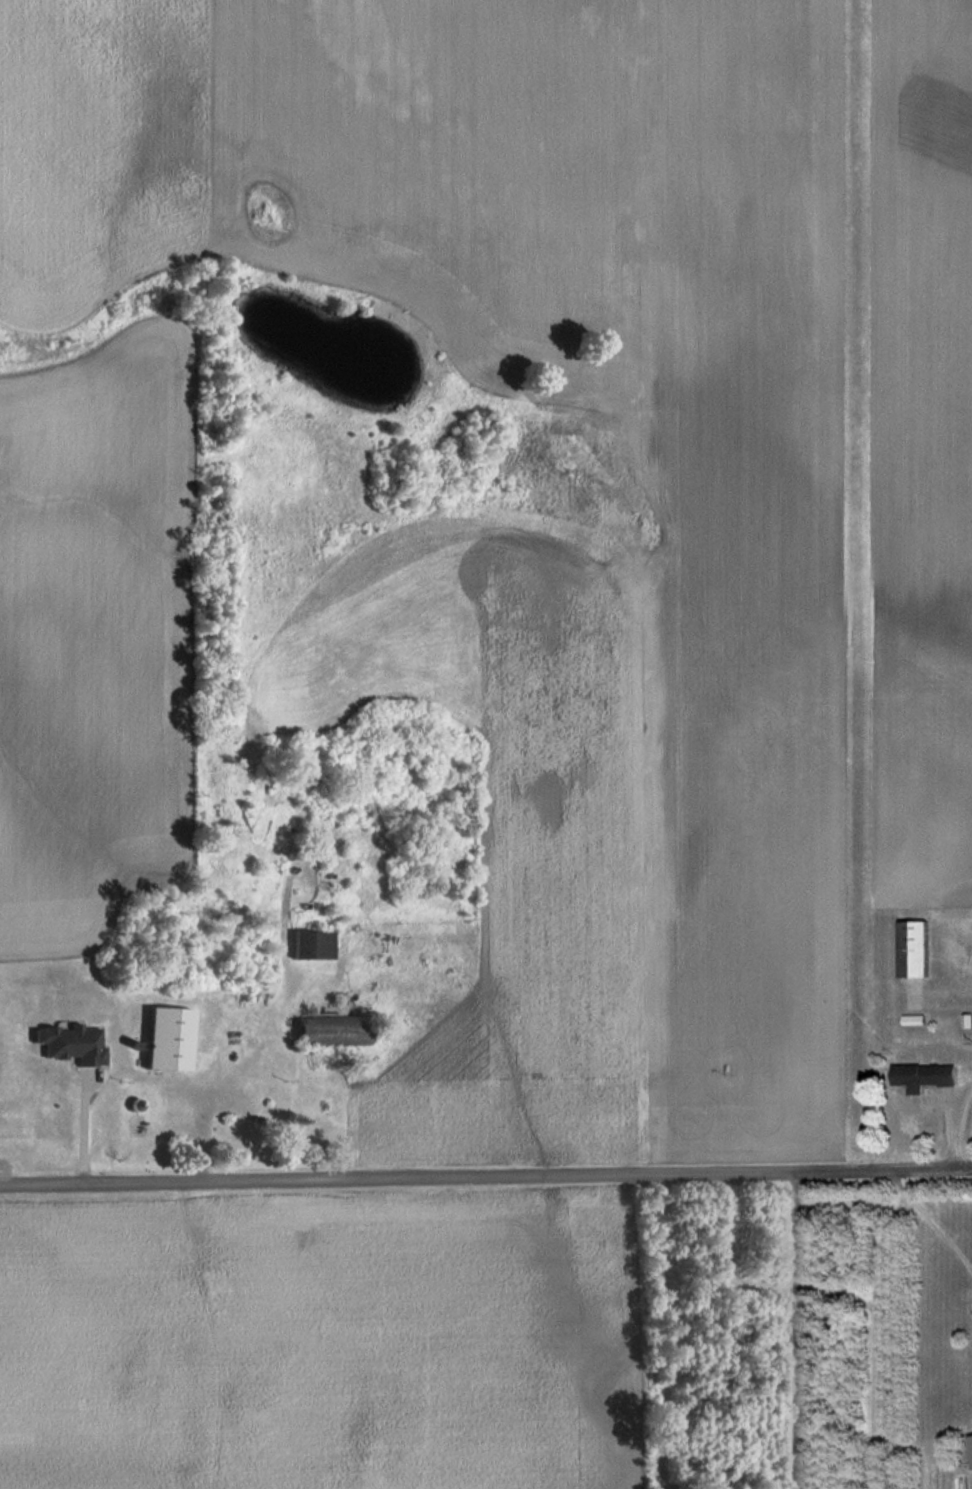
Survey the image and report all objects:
airport runway: (858, 577)
building: (313, 944)
building: (912, 949)
building: (334, 1029)
building: (168, 1038)
building: (72, 1043)
building: (923, 1076)
road: (959, 1125)
road: (486, 1175)
road: (930, 1219)
road: (795, 1329)
building: (971, 1445)

